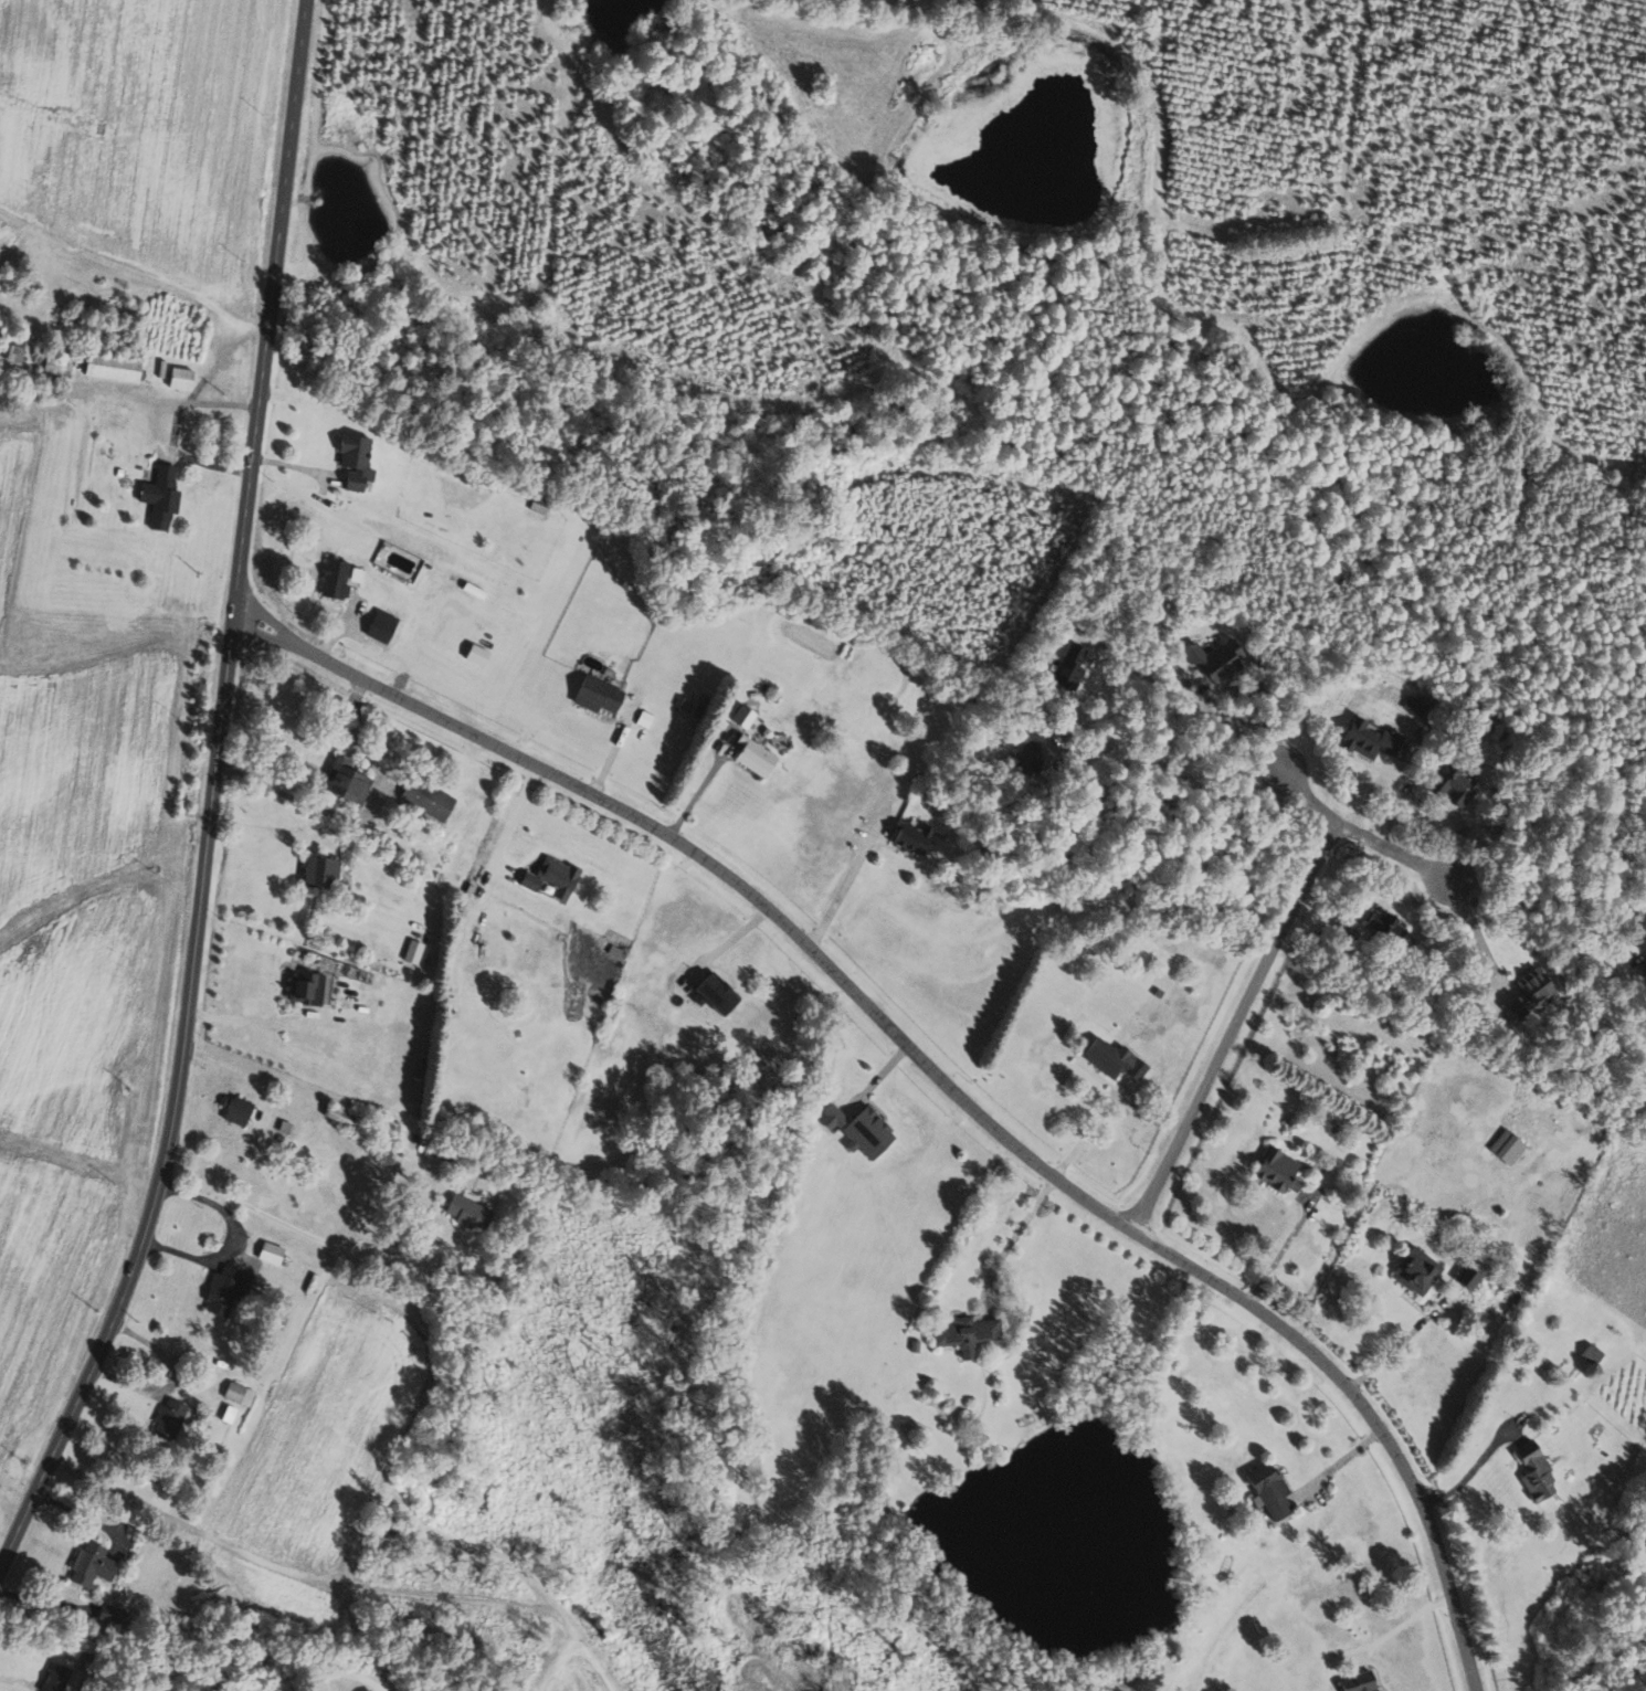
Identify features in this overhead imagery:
building: (12, 355)
building: (51, 364)
building: (110, 367)
building: (179, 378)
road: (172, 427)
building: (354, 462)
building: (158, 497)
building: (337, 579)
building: (379, 626)
building: (474, 655)
building: (1213, 660)
building: (1069, 668)
building: (594, 695)
road: (1191, 698)
building: (1414, 706)
building: (644, 718)
building: (742, 718)
building: (1370, 740)
road: (1146, 753)
building: (1027, 754)
building: (753, 757)
building: (342, 781)
building: (1454, 785)
road: (699, 793)
road: (1309, 795)
road: (210, 799)
building: (430, 801)
road: (356, 816)
road: (261, 828)
building: (910, 837)
road: (1402, 857)
building: (318, 873)
building: (550, 877)
road: (841, 895)
road: (1539, 916)
building: (1639, 917)
building: (1383, 926)
building: (1644, 965)
building: (305, 990)
building: (714, 993)
building: (1528, 993)
road: (1238, 1019)
road: (251, 1021)
building: (1111, 1058)
road: (937, 1077)
building: (234, 1109)
building: (337, 1113)
building: (866, 1131)
building: (1507, 1146)
building: (1277, 1171)
building: (465, 1211)
road: (304, 1230)
road: (1012, 1237)
road: (1281, 1248)
building: (268, 1253)
building: (1415, 1270)
building: (1466, 1277)
building: (223, 1288)
building: (964, 1333)
road: (1399, 1343)
building: (1590, 1353)
building: (238, 1393)
building: (229, 1414)
building: (168, 1418)
building: (1533, 1471)
road: (1468, 1475)
building: (1266, 1489)
road: (84, 1514)
building: (89, 1564)
road: (1405, 1618)
road: (274, 1660)
building: (54, 1678)
building: (1355, 1682)

